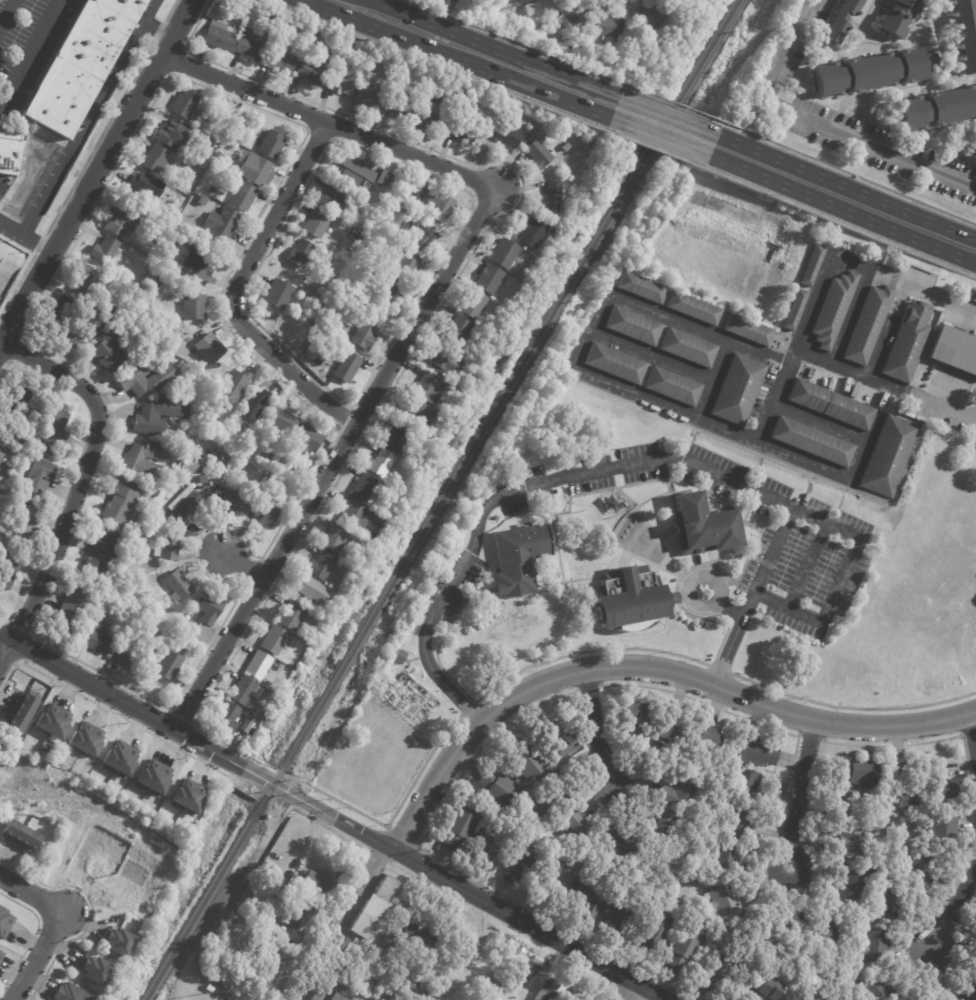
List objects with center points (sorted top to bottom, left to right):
road: (614, 0)
building: (236, 2)
building: (669, 2)
road: (974, 4)
road: (4, 8)
road: (170, 10)
building: (533, 10)
building: (267, 13)
building: (569, 14)
building: (649, 17)
building: (892, 17)
road: (913, 19)
building: (838, 21)
building: (538, 23)
road: (857, 25)
road: (913, 25)
road: (927, 27)
building: (608, 28)
road: (157, 29)
road: (158, 30)
building: (962, 34)
building: (218, 36)
building: (272, 40)
parking lot: (778, 40)
parking lot: (803, 42)
road: (511, 43)
parking lot: (27, 44)
road: (183, 47)
road: (493, 48)
building: (248, 49)
road: (28, 51)
road: (945, 57)
road: (455, 58)
building: (279, 62)
building: (81, 63)
road: (435, 63)
building: (309, 72)
building: (869, 73)
building: (340, 82)
building: (369, 95)
building: (182, 104)
road: (666, 104)
building: (399, 106)
road: (326, 108)
building: (934, 108)
road: (86, 116)
building: (429, 116)
road: (661, 116)
building: (216, 119)
road: (327, 124)
road: (816, 124)
building: (235, 129)
road: (943, 129)
road: (306, 130)
building: (461, 131)
building: (504, 134)
building: (172, 135)
road: (653, 136)
road: (99, 137)
parking lot: (883, 137)
road: (961, 141)
building: (268, 145)
building: (565, 146)
road: (647, 147)
building: (9, 148)
building: (971, 148)
building: (205, 152)
building: (537, 154)
building: (216, 156)
building: (152, 159)
parking lot: (882, 164)
building: (253, 169)
road: (97, 171)
building: (359, 174)
road: (845, 174)
building: (176, 182)
building: (146, 185)
building: (392, 185)
road: (842, 186)
building: (211, 190)
building: (196, 193)
building: (203, 195)
building: (219, 195)
building: (240, 196)
building: (549, 197)
building: (333, 199)
building: (437, 204)
road: (838, 209)
road: (835, 221)
building: (221, 222)
building: (119, 223)
building: (314, 224)
building: (530, 233)
building: (421, 234)
road: (25, 236)
building: (160, 237)
building: (360, 239)
road: (40, 245)
building: (102, 250)
building: (353, 251)
building: (298, 253)
building: (502, 253)
building: (196, 263)
building: (406, 264)
building: (811, 265)
building: (487, 279)
building: (86, 285)
road: (17, 286)
building: (640, 288)
building: (388, 289)
road: (234, 290)
building: (274, 292)
road: (413, 301)
building: (471, 304)
building: (192, 307)
building: (691, 309)
building: (110, 310)
building: (793, 310)
building: (833, 310)
building: (451, 311)
road: (806, 320)
building: (64, 322)
building: (314, 323)
building: (632, 325)
building: (867, 325)
building: (210, 326)
building: (169, 329)
building: (746, 330)
building: (457, 331)
building: (362, 336)
building: (907, 342)
building: (105, 347)
building: (207, 348)
building: (687, 348)
building: (954, 351)
road: (17, 352)
road: (258, 360)
building: (444, 362)
building: (615, 363)
building: (218, 365)
building: (929, 366)
building: (345, 367)
road: (5, 369)
building: (161, 378)
building: (446, 378)
building: (924, 379)
building: (233, 386)
building: (673, 387)
building: (427, 389)
building: (737, 390)
building: (255, 404)
building: (16, 405)
building: (830, 405)
building: (415, 412)
road: (341, 414)
building: (146, 418)
building: (279, 423)
building: (51, 429)
road: (346, 434)
building: (395, 439)
building: (302, 441)
building: (811, 442)
building: (3, 444)
building: (272, 454)
building: (888, 456)
building: (145, 459)
road: (334, 459)
building: (208, 462)
building: (378, 464)
building: (287, 466)
road: (612, 468)
building: (210, 475)
parking lot: (647, 478)
building: (202, 479)
road: (79, 482)
building: (34, 483)
building: (362, 487)
railway: (440, 499)
building: (232, 501)
building: (120, 503)
road: (632, 504)
building: (184, 506)
building: (262, 513)
road: (550, 515)
building: (351, 516)
road: (738, 523)
road: (745, 524)
building: (701, 527)
building: (19, 528)
road: (755, 538)
building: (332, 539)
building: (166, 547)
building: (98, 553)
building: (517, 559)
building: (355, 562)
road: (696, 563)
road: (241, 565)
road: (807, 566)
building: (318, 567)
building: (7, 571)
parking lot: (805, 571)
road: (478, 580)
road: (567, 581)
road: (835, 581)
road: (244, 582)
building: (176, 586)
parking lot: (448, 587)
building: (309, 591)
building: (630, 598)
road: (264, 601)
road: (722, 606)
building: (67, 610)
building: (319, 614)
road: (703, 616)
building: (289, 617)
road: (3, 618)
building: (204, 618)
road: (18, 625)
building: (94, 637)
road: (441, 639)
building: (272, 641)
road: (31, 650)
road: (587, 651)
building: (396, 657)
building: (128, 658)
road: (8, 661)
building: (166, 666)
building: (256, 666)
road: (648, 668)
road: (720, 669)
building: (242, 692)
road: (851, 707)
road: (465, 708)
road: (109, 711)
building: (21, 713)
road: (180, 715)
building: (226, 717)
building: (632, 718)
building: (53, 721)
building: (244, 725)
building: (669, 730)
road: (596, 733)
building: (704, 734)
road: (972, 734)
building: (84, 739)
building: (556, 740)
building: (753, 751)
building: (523, 758)
building: (118, 759)
building: (857, 770)
building: (901, 771)
building: (152, 779)
building: (942, 783)
building: (743, 784)
building: (499, 789)
building: (679, 793)
road: (801, 793)
building: (550, 796)
building: (186, 797)
building: (902, 797)
building: (845, 804)
building: (266, 817)
road: (336, 818)
building: (738, 820)
building: (571, 823)
building: (457, 826)
building: (659, 826)
building: (941, 830)
building: (919, 832)
building: (18, 836)
building: (848, 842)
building: (489, 844)
building: (616, 847)
building: (724, 855)
building: (517, 859)
building: (920, 869)
building: (557, 874)
building: (90, 881)
building: (314, 881)
building: (282, 886)
building: (850, 887)
building: (875, 891)
building: (587, 897)
building: (721, 900)
building: (889, 901)
road: (954, 906)
building: (374, 908)
road: (91, 911)
building: (616, 913)
building: (289, 916)
building: (4, 923)
road: (56, 925)
building: (256, 925)
building: (419, 931)
building: (851, 931)
building: (653, 932)
building: (286, 933)
building: (393, 933)
building: (819, 934)
building: (732, 935)
road: (32, 936)
building: (760, 940)
building: (117, 941)
building: (338, 945)
building: (877, 946)
building: (682, 948)
building: (0, 951)
building: (1, 955)
building: (719, 968)
building: (93, 969)
building: (411, 971)
building: (492, 985)
building: (811, 986)
building: (209, 988)
building: (398, 989)
road: (630, 989)
building: (371, 990)
building: (548, 990)
building: (766, 990)
building: (881, 990)
building: (316, 991)
building: (966, 991)
building: (68, 993)
building: (806, 996)
building: (336, 997)

